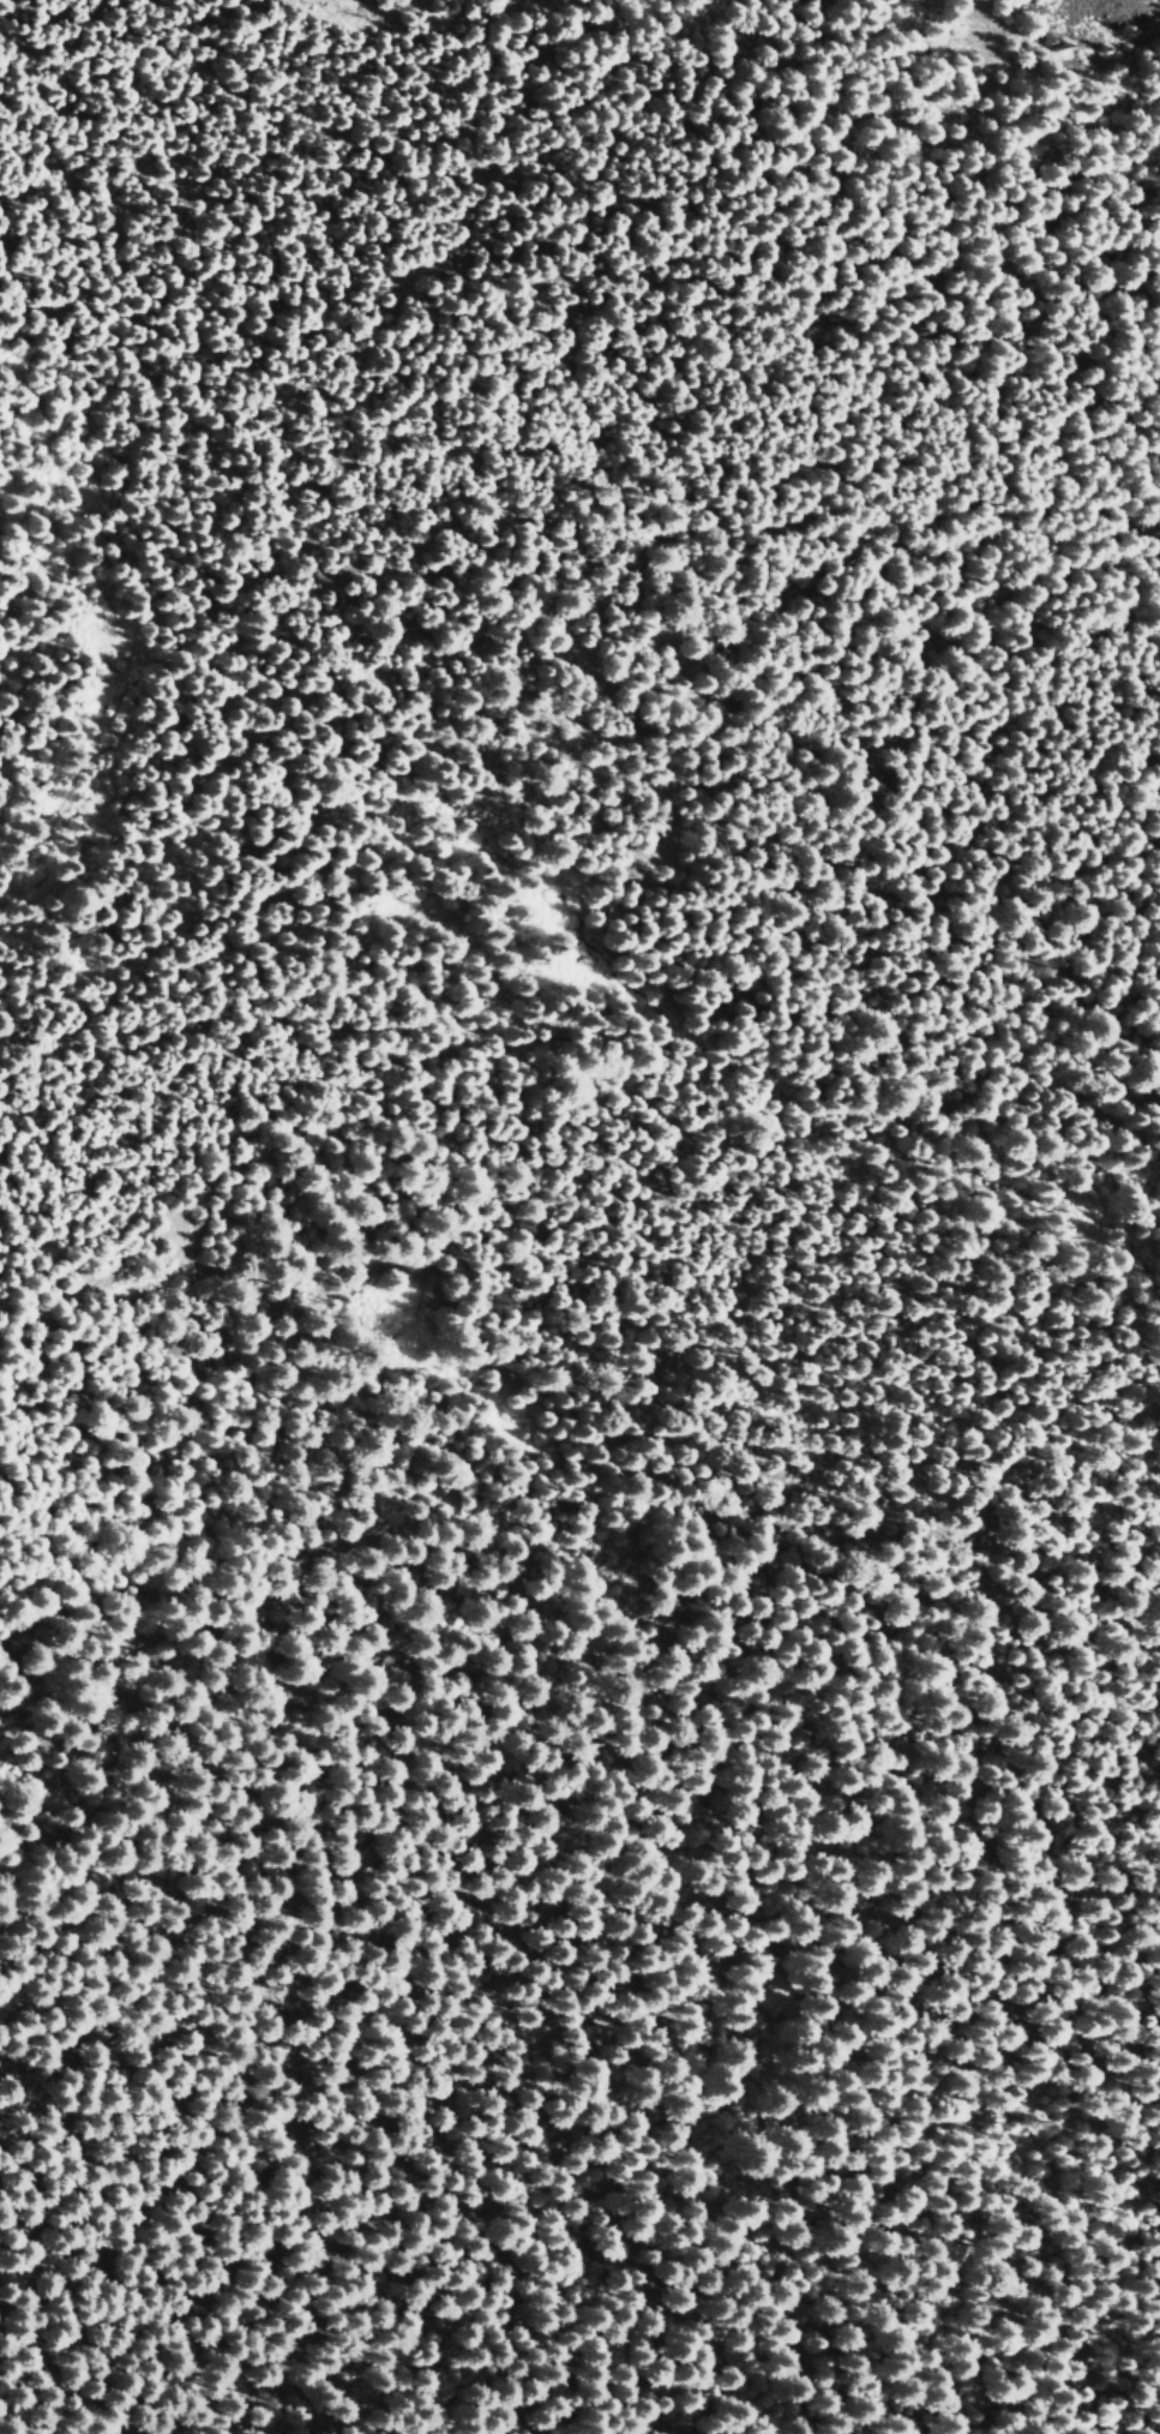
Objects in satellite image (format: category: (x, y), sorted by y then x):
road: (383, 1420)

